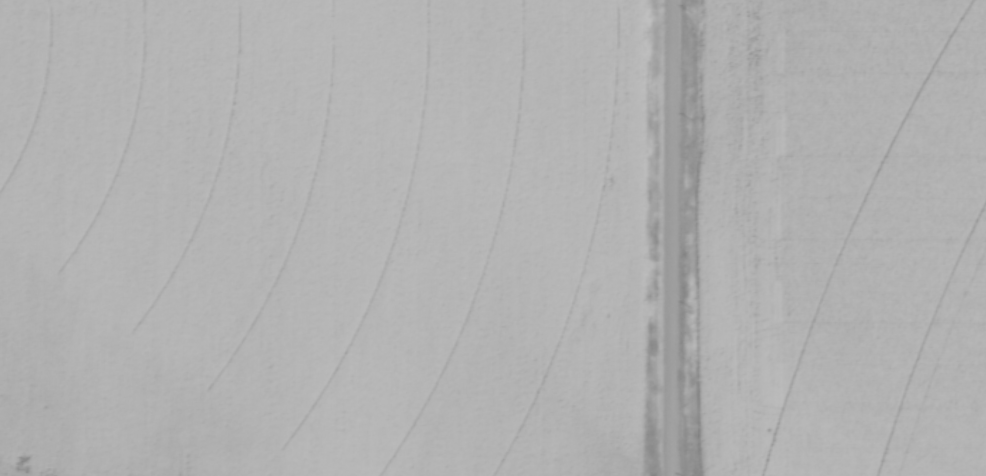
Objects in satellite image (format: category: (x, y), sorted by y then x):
crop: (320, 237)
road: (670, 238)

